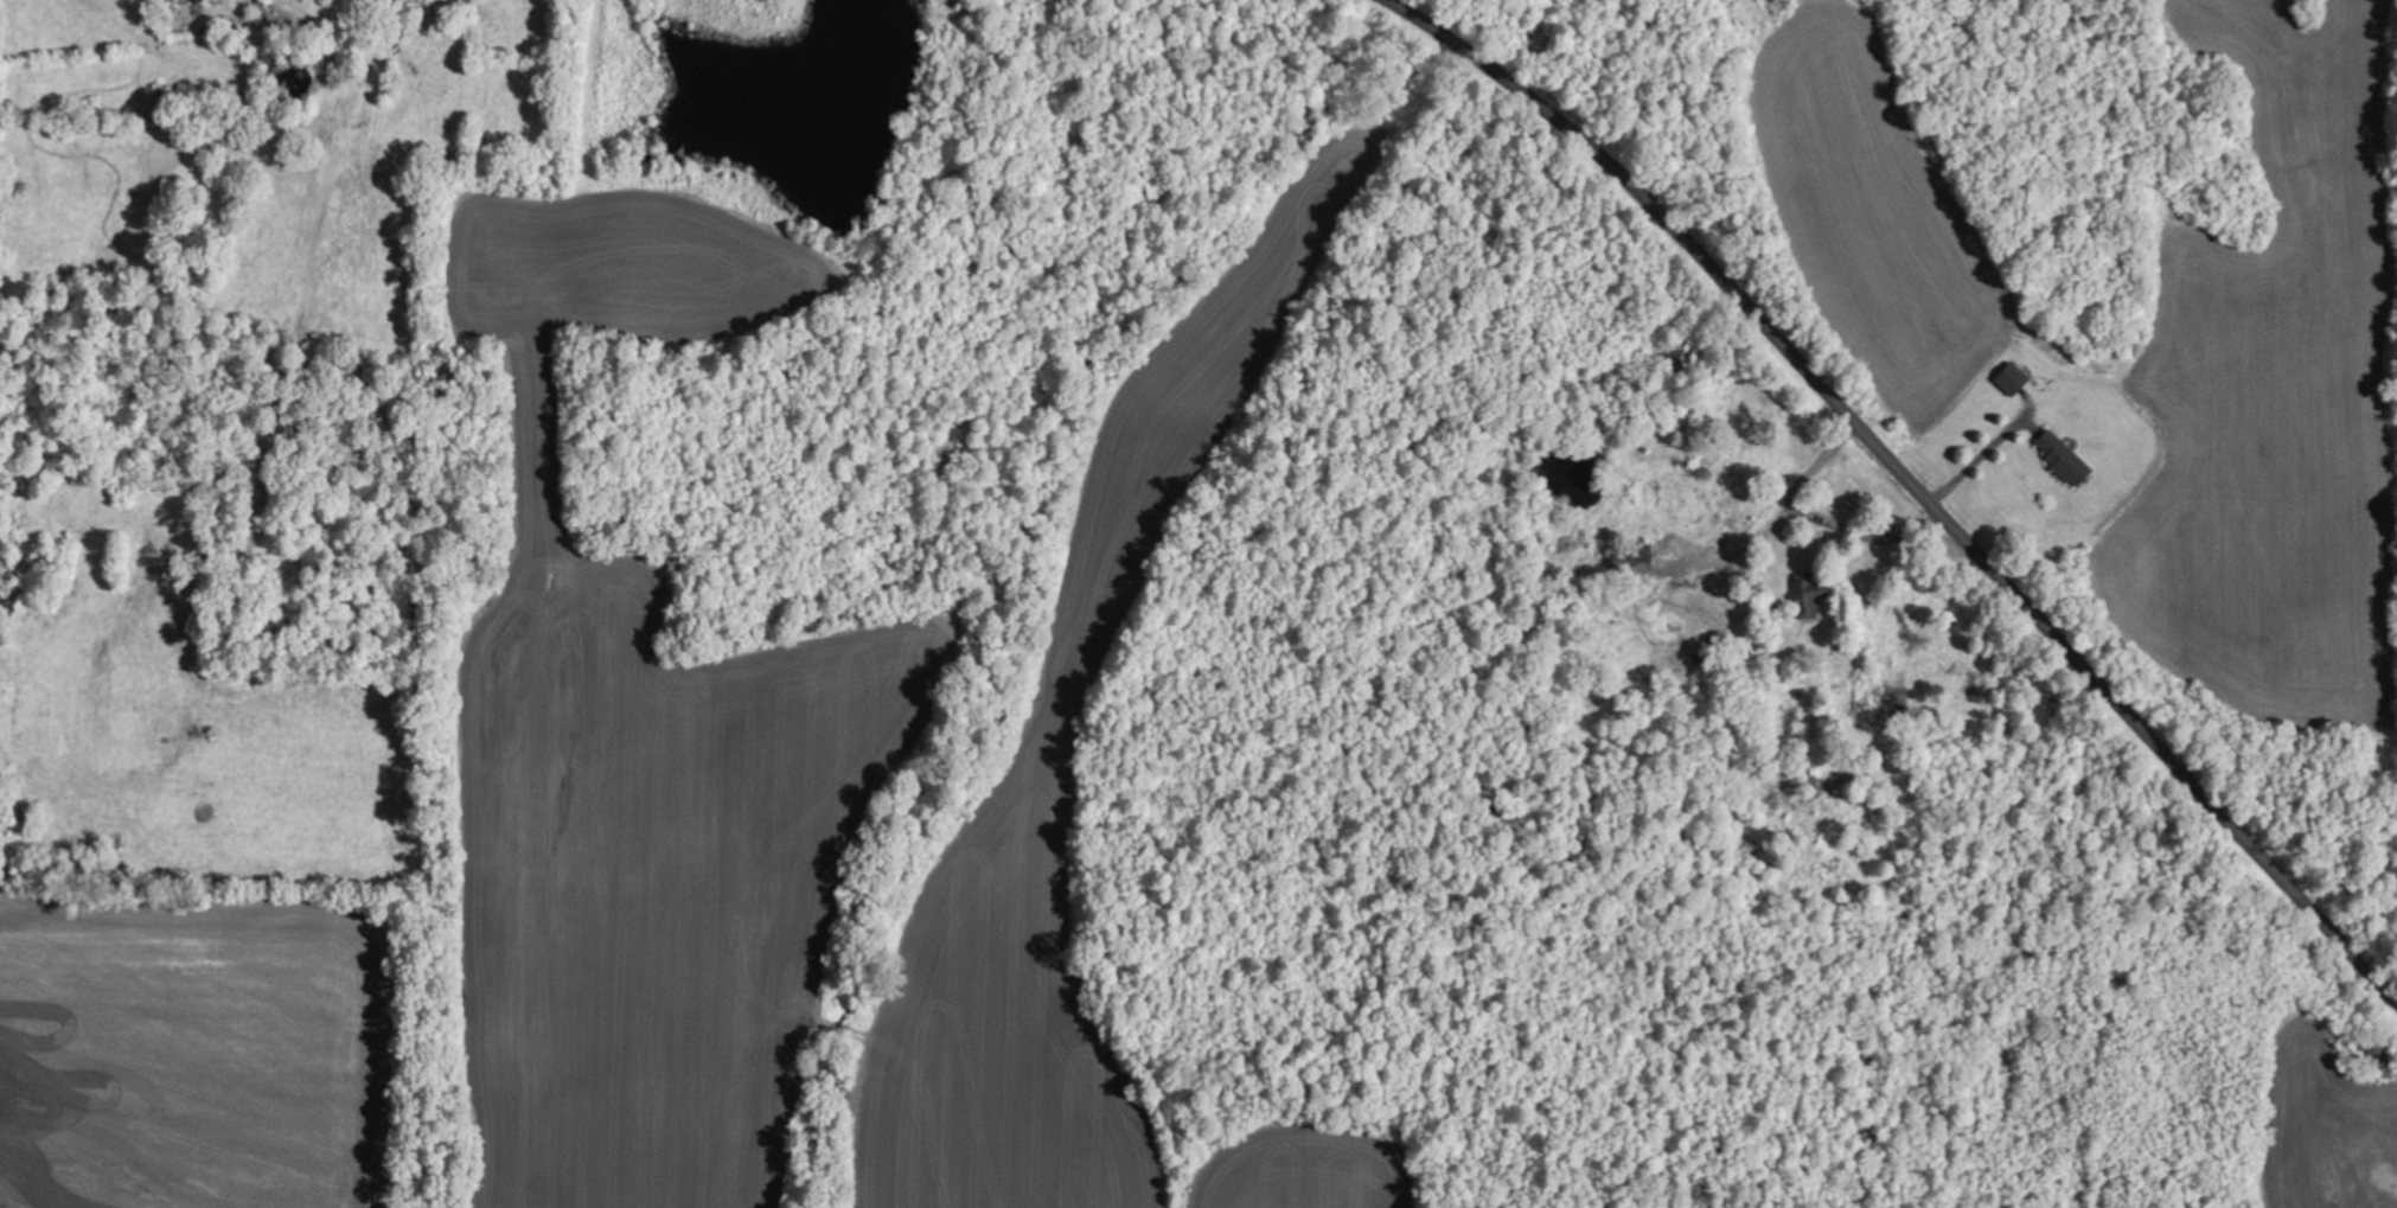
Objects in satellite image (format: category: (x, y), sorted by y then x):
building: (2009, 377)
road: (1980, 455)
building: (2060, 456)
road: (1906, 480)

